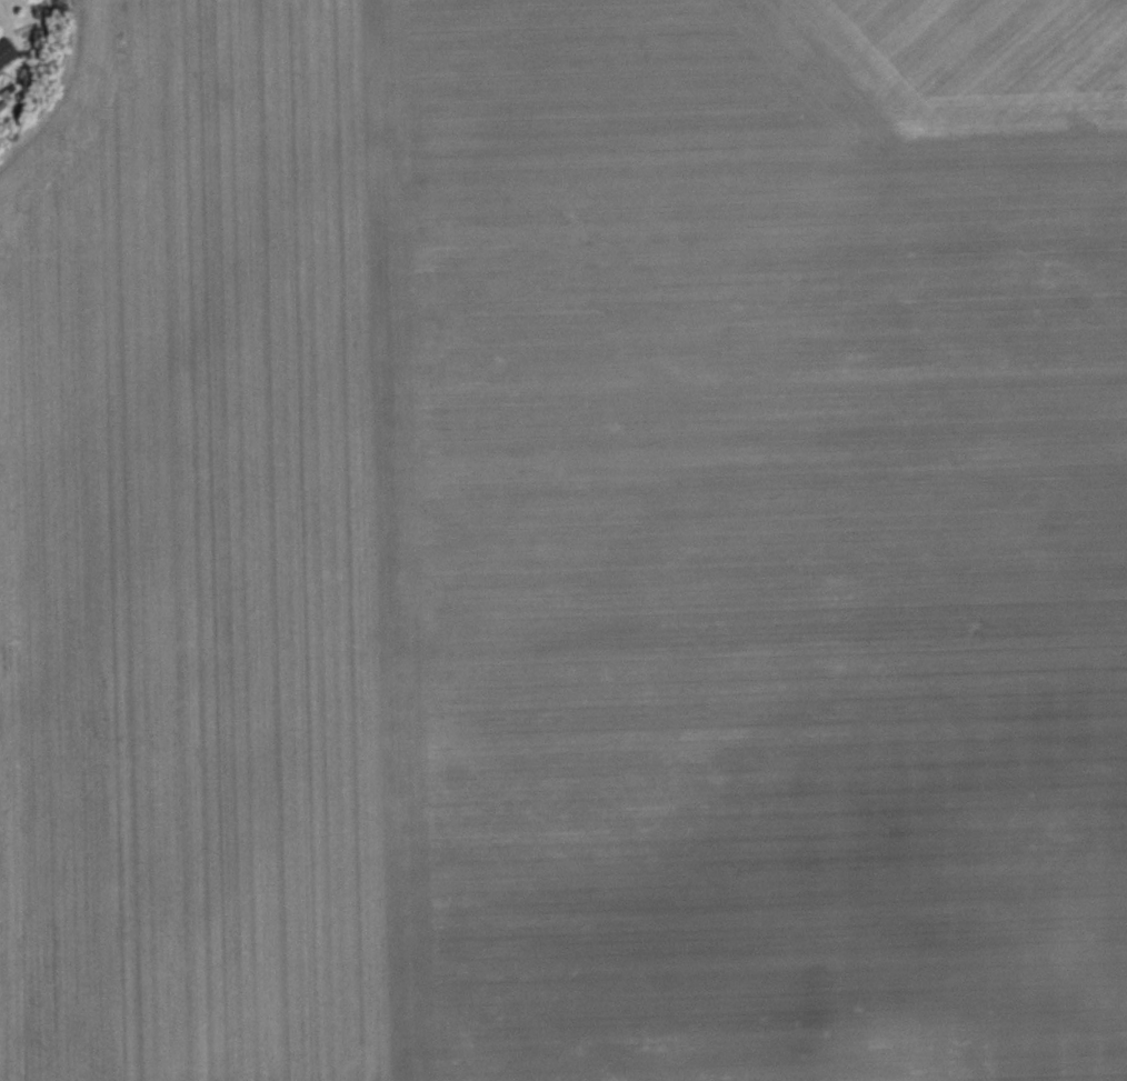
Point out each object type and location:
building: (4, 50)

